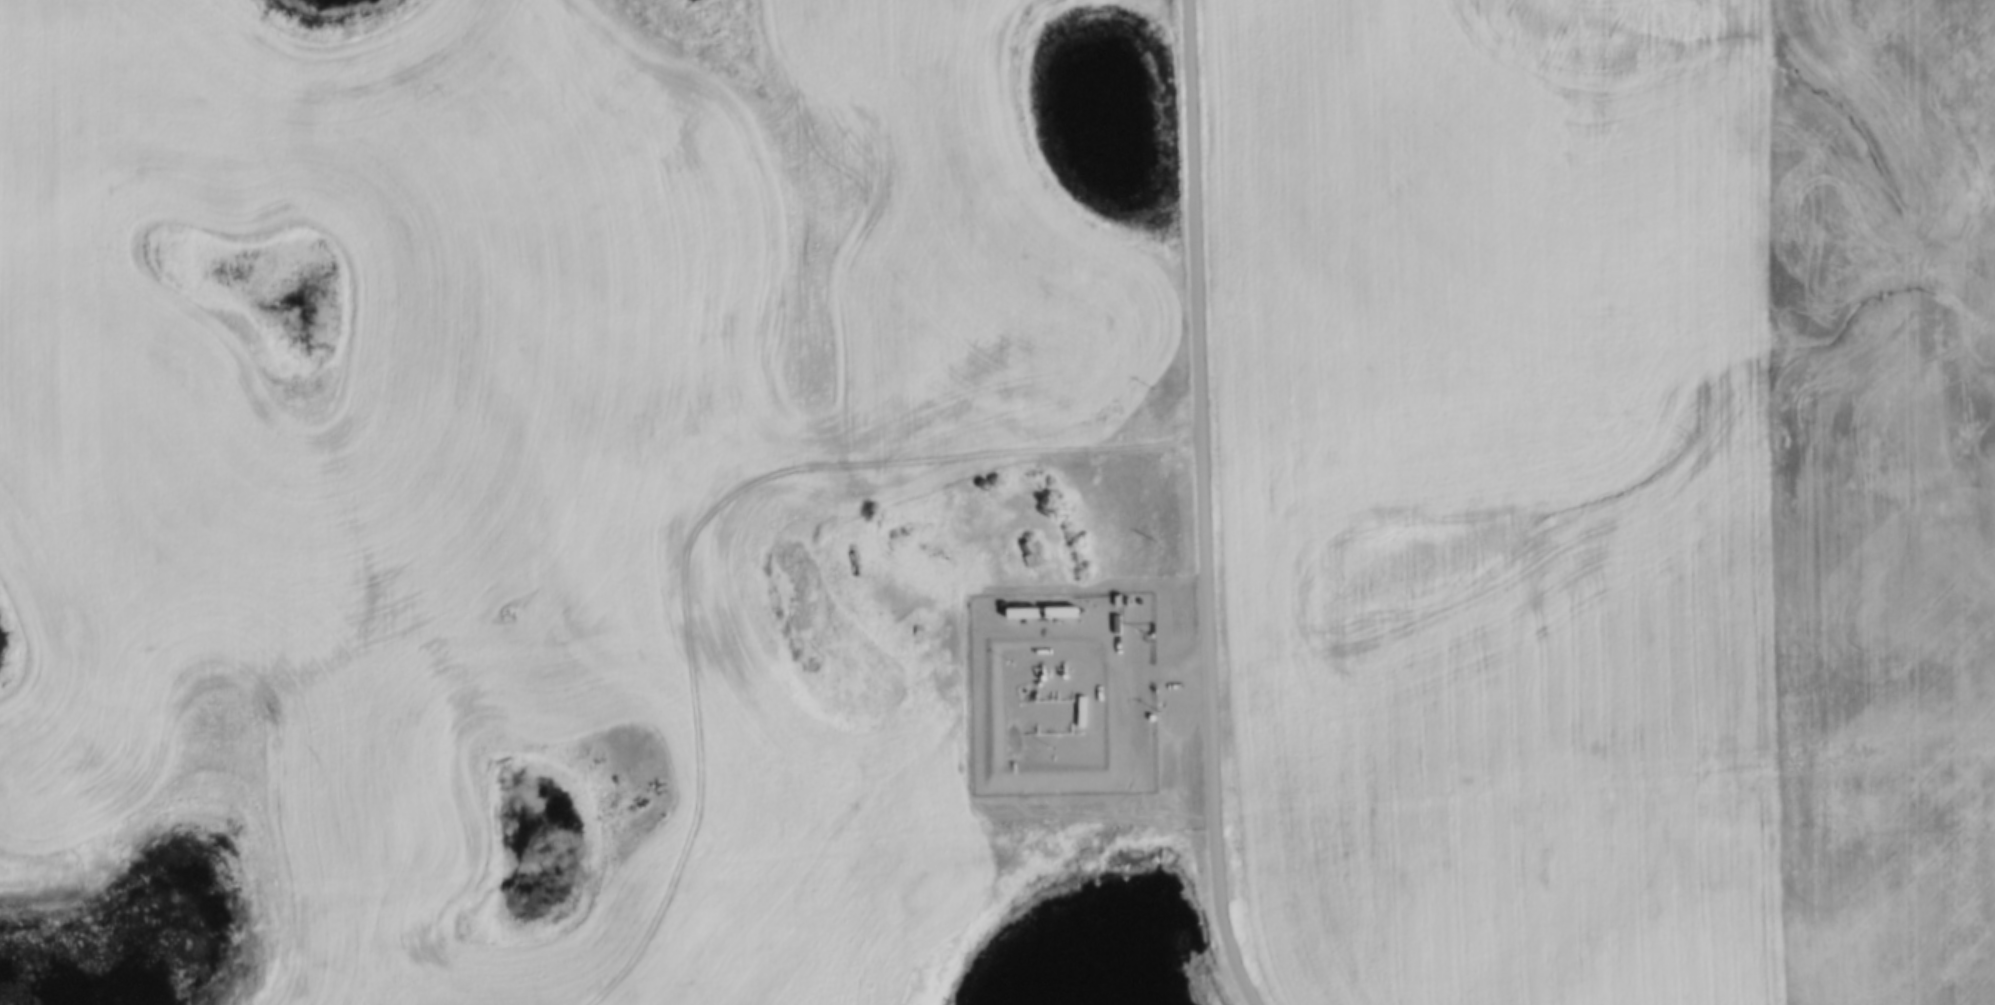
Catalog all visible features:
road: (1199, 505)
building: (1033, 552)
building: (1024, 611)
building: (1063, 612)
road: (1181, 663)

